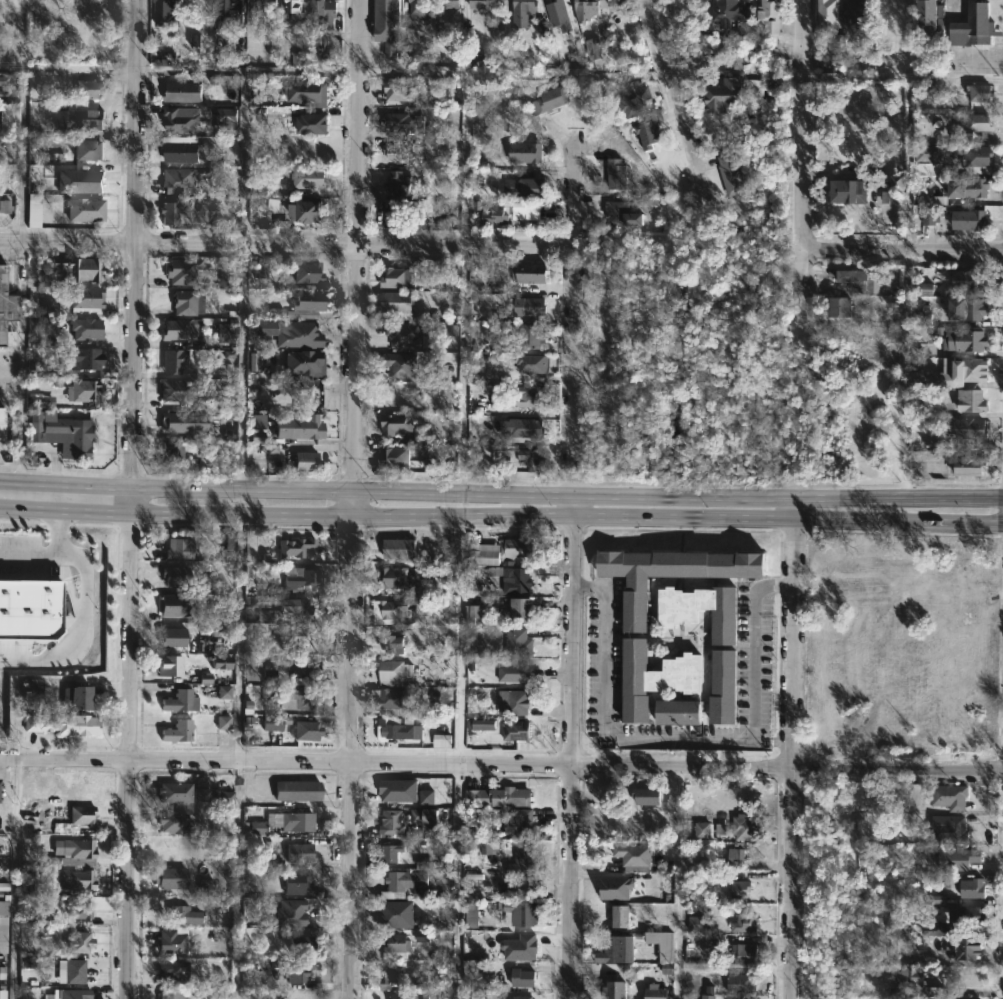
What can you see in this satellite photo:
building: (451, 3)
building: (479, 4)
building: (526, 8)
building: (9, 9)
building: (420, 10)
building: (557, 10)
building: (586, 10)
building: (730, 10)
building: (231, 11)
building: (298, 11)
building: (328, 12)
building: (167, 13)
building: (263, 13)
building: (857, 13)
building: (770, 15)
building: (927, 20)
building: (828, 21)
building: (386, 24)
building: (972, 25)
building: (592, 53)
building: (19, 54)
building: (168, 58)
building: (328, 58)
building: (297, 59)
road: (70, 71)
road: (673, 80)
building: (1, 81)
building: (88, 89)
building: (185, 91)
building: (398, 91)
building: (982, 92)
building: (728, 93)
building: (308, 94)
building: (551, 100)
building: (632, 102)
building: (9, 118)
road: (801, 123)
building: (85, 124)
building: (312, 124)
building: (409, 124)
building: (977, 125)
building: (647, 130)
building: (90, 149)
building: (181, 151)
building: (404, 152)
building: (526, 153)
road: (21, 155)
building: (974, 158)
building: (929, 168)
building: (617, 173)
building: (732, 177)
building: (310, 178)
building: (80, 181)
building: (180, 181)
building: (897, 183)
building: (400, 184)
building: (965, 187)
building: (527, 188)
road: (574, 188)
building: (844, 191)
building: (5, 206)
building: (426, 208)
building: (33, 210)
building: (87, 210)
building: (525, 211)
building: (171, 212)
building: (309, 212)
building: (616, 212)
building: (293, 213)
building: (196, 214)
building: (494, 214)
building: (408, 216)
building: (969, 220)
road: (286, 244)
road: (902, 250)
building: (262, 268)
building: (79, 270)
building: (184, 271)
building: (309, 272)
building: (529, 273)
building: (401, 277)
building: (854, 280)
building: (972, 280)
road: (801, 287)
building: (927, 289)
building: (83, 297)
building: (399, 302)
building: (185, 303)
building: (308, 305)
building: (527, 308)
building: (842, 308)
building: (6, 310)
building: (968, 310)
building: (86, 329)
building: (179, 330)
building: (298, 335)
building: (408, 335)
building: (528, 335)
building: (961, 339)
building: (87, 360)
building: (175, 361)
building: (305, 363)
building: (530, 363)
building: (401, 366)
building: (973, 371)
building: (83, 389)
building: (178, 393)
building: (396, 395)
building: (528, 396)
building: (41, 401)
building: (971, 401)
building: (257, 422)
building: (177, 423)
building: (2, 424)
building: (300, 428)
building: (405, 428)
building: (526, 429)
building: (969, 429)
building: (257, 437)
building: (65, 439)
building: (204, 446)
building: (272, 448)
building: (174, 454)
building: (531, 457)
building: (395, 458)
building: (307, 462)
building: (965, 466)
road: (501, 491)
road: (133, 499)
road: (356, 499)
road: (501, 515)
building: (293, 547)
building: (397, 547)
building: (177, 548)
building: (499, 550)
road: (32, 553)
building: (219, 554)
building: (173, 574)
building: (397, 575)
building: (303, 578)
building: (519, 579)
building: (176, 604)
building: (393, 607)
building: (519, 608)
building: (30, 609)
road: (82, 612)
building: (473, 615)
road: (570, 620)
building: (172, 636)
building: (297, 636)
building: (641, 636)
road: (239, 638)
building: (517, 641)
building: (392, 643)
building: (168, 665)
building: (76, 668)
building: (304, 670)
building: (394, 672)
building: (515, 672)
building: (723, 673)
building: (78, 696)
building: (307, 699)
building: (178, 701)
building: (518, 701)
building: (391, 702)
building: (677, 711)
building: (6, 722)
building: (62, 723)
building: (272, 724)
building: (402, 728)
building: (305, 729)
building: (176, 730)
building: (518, 730)
road: (682, 739)
road: (790, 745)
road: (460, 757)
road: (501, 761)
building: (201, 790)
building: (296, 790)
building: (175, 791)
building: (499, 796)
building: (646, 796)
building: (952, 796)
building: (221, 797)
building: (82, 814)
building: (426, 815)
building: (172, 821)
building: (298, 821)
building: (391, 825)
building: (746, 826)
building: (948, 829)
building: (703, 832)
building: (524, 844)
building: (79, 848)
building: (299, 852)
building: (634, 853)
building: (390, 855)
building: (77, 878)
building: (172, 878)
road: (14, 879)
road: (238, 880)
building: (401, 880)
building: (298, 882)
building: (975, 888)
building: (742, 890)
building: (81, 909)
building: (520, 913)
building: (398, 914)
building: (967, 914)
building: (184, 915)
building: (617, 916)
building: (2, 923)
building: (745, 924)
building: (80, 942)
building: (171, 942)
building: (618, 943)
building: (305, 944)
building: (396, 946)
building: (965, 947)
building: (746, 951)
building: (172, 970)
building: (298, 970)
building: (75, 971)
building: (392, 977)
building: (525, 978)
building: (907, 980)
building: (743, 983)
building: (616, 990)
building: (657, 992)
building: (955, 993)
building: (68, 994)
building: (171, 995)
building: (404, 996)
building: (518, 997)
building: (707, 998)

